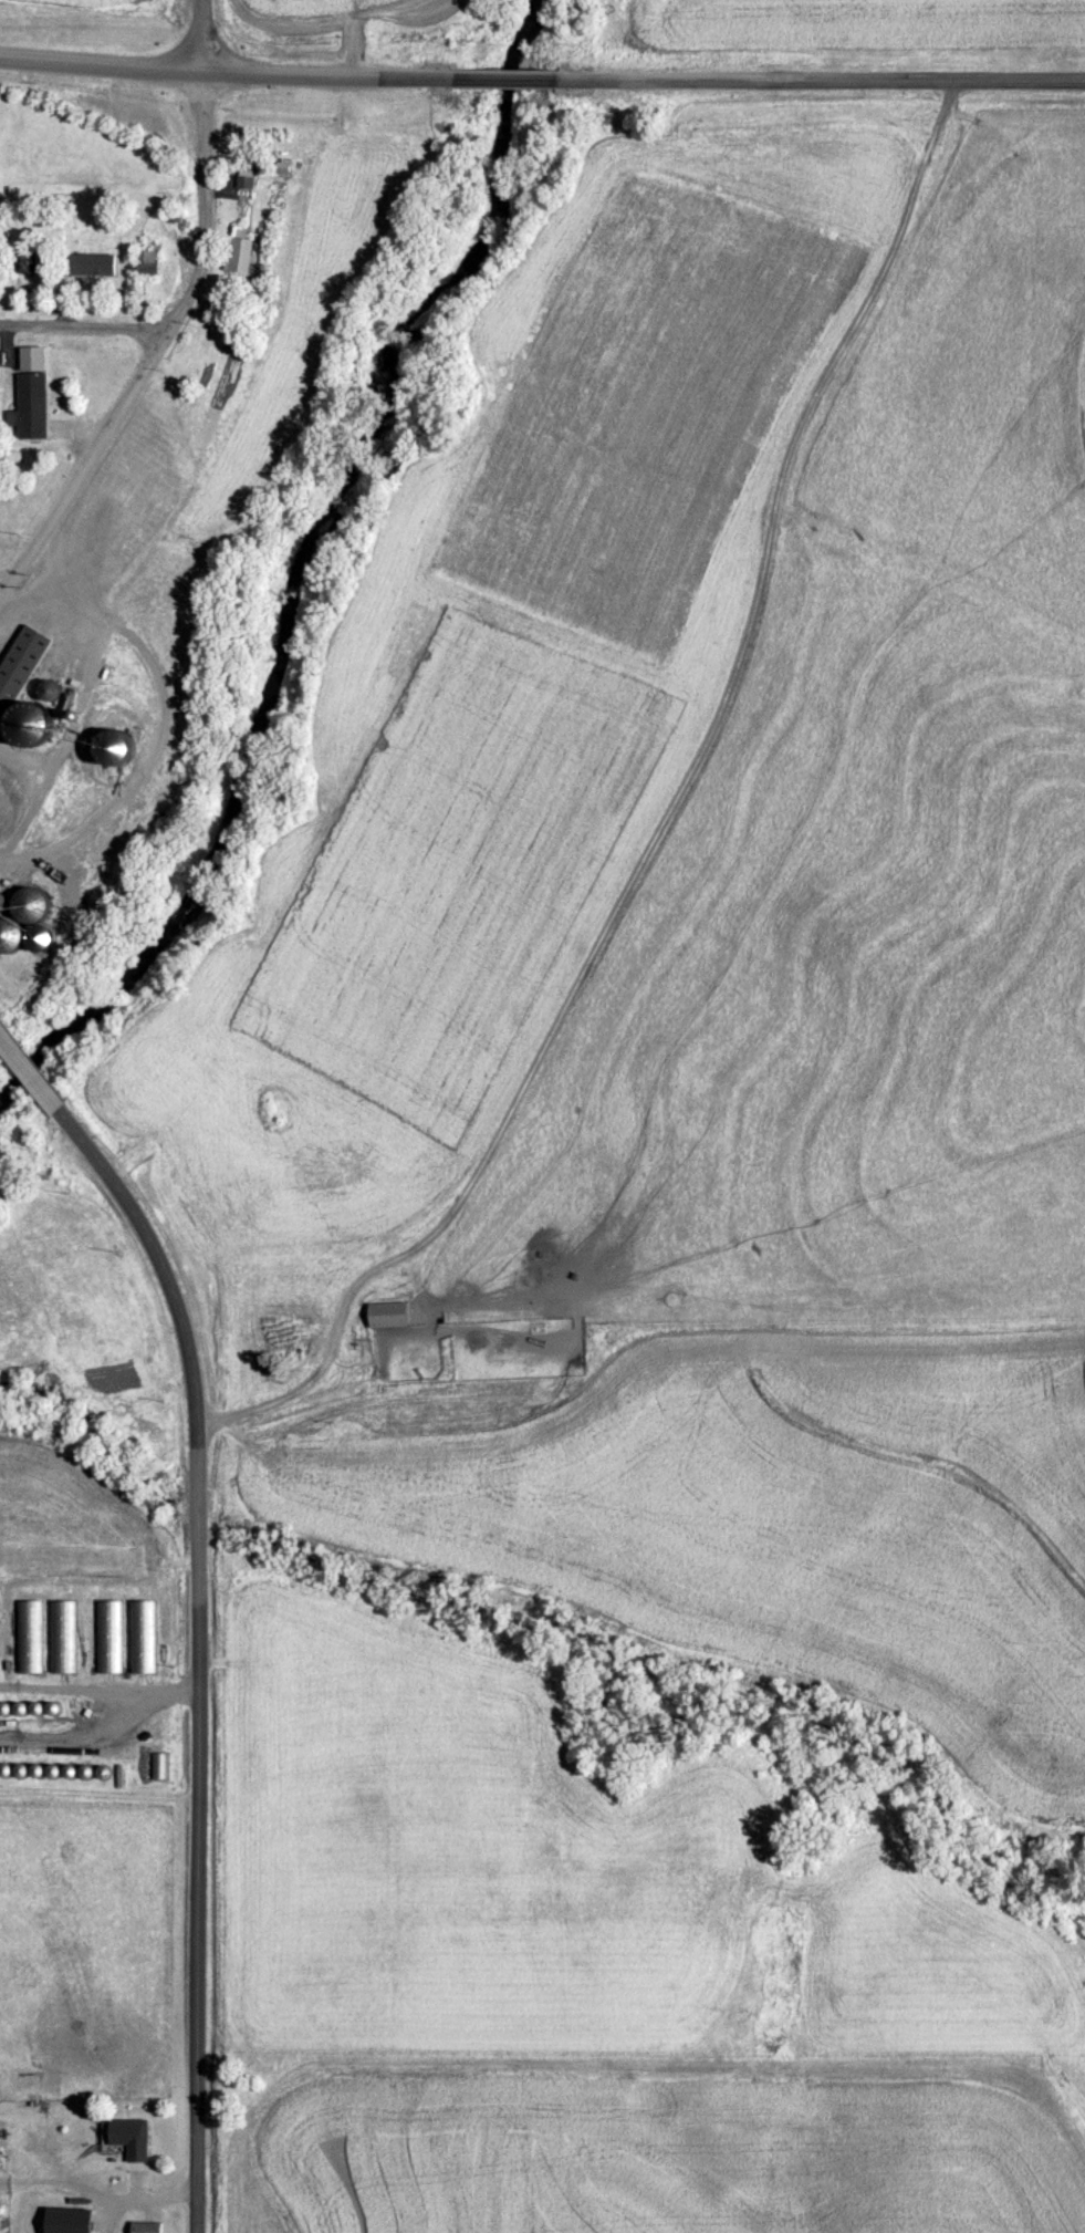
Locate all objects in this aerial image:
road: (196, 34)
road: (225, 69)
road: (503, 76)
road: (820, 77)
road: (200, 185)
building: (239, 252)
building: (143, 259)
building: (92, 262)
road: (81, 324)
building: (30, 402)
road: (94, 446)
building: (18, 664)
building: (27, 903)
building: (7, 932)
road: (28, 1071)
building: (385, 1313)
building: (27, 1635)
building: (61, 1635)
building: (106, 1635)
building: (139, 1635)
road: (190, 1651)
building: (156, 1765)
building: (7, 2139)
building: (126, 2146)
building: (145, 2226)

